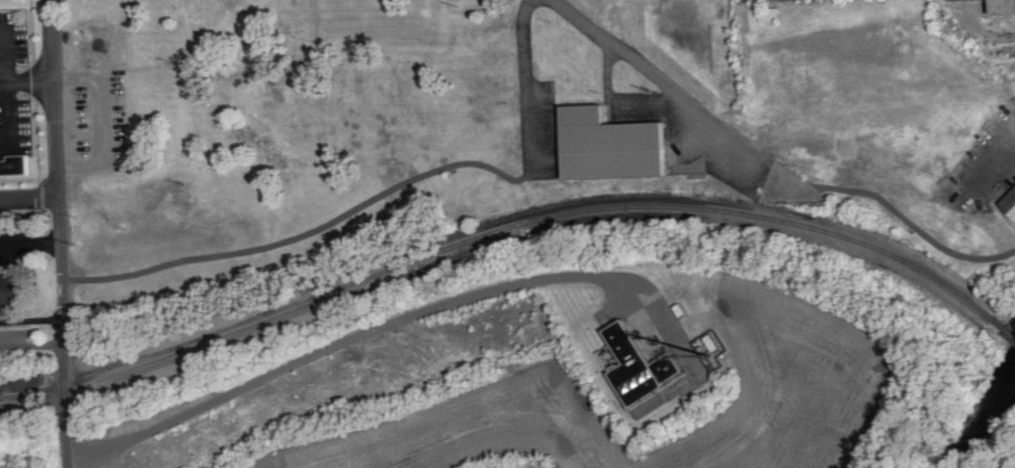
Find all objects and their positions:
building: (955, 0)
building: (1003, 6)
road: (27, 80)
road: (8, 94)
parking lot: (96, 122)
road: (58, 139)
building: (609, 144)
road: (773, 163)
building: (14, 164)
road: (1002, 170)
road: (30, 195)
road: (381, 195)
building: (1009, 202)
road: (44, 216)
railway: (476, 242)
road: (30, 243)
building: (10, 291)
railway: (975, 306)
road: (32, 320)
road: (382, 326)
railway: (1004, 327)
road: (32, 342)
building: (638, 364)
road: (64, 373)
river: (986, 422)

